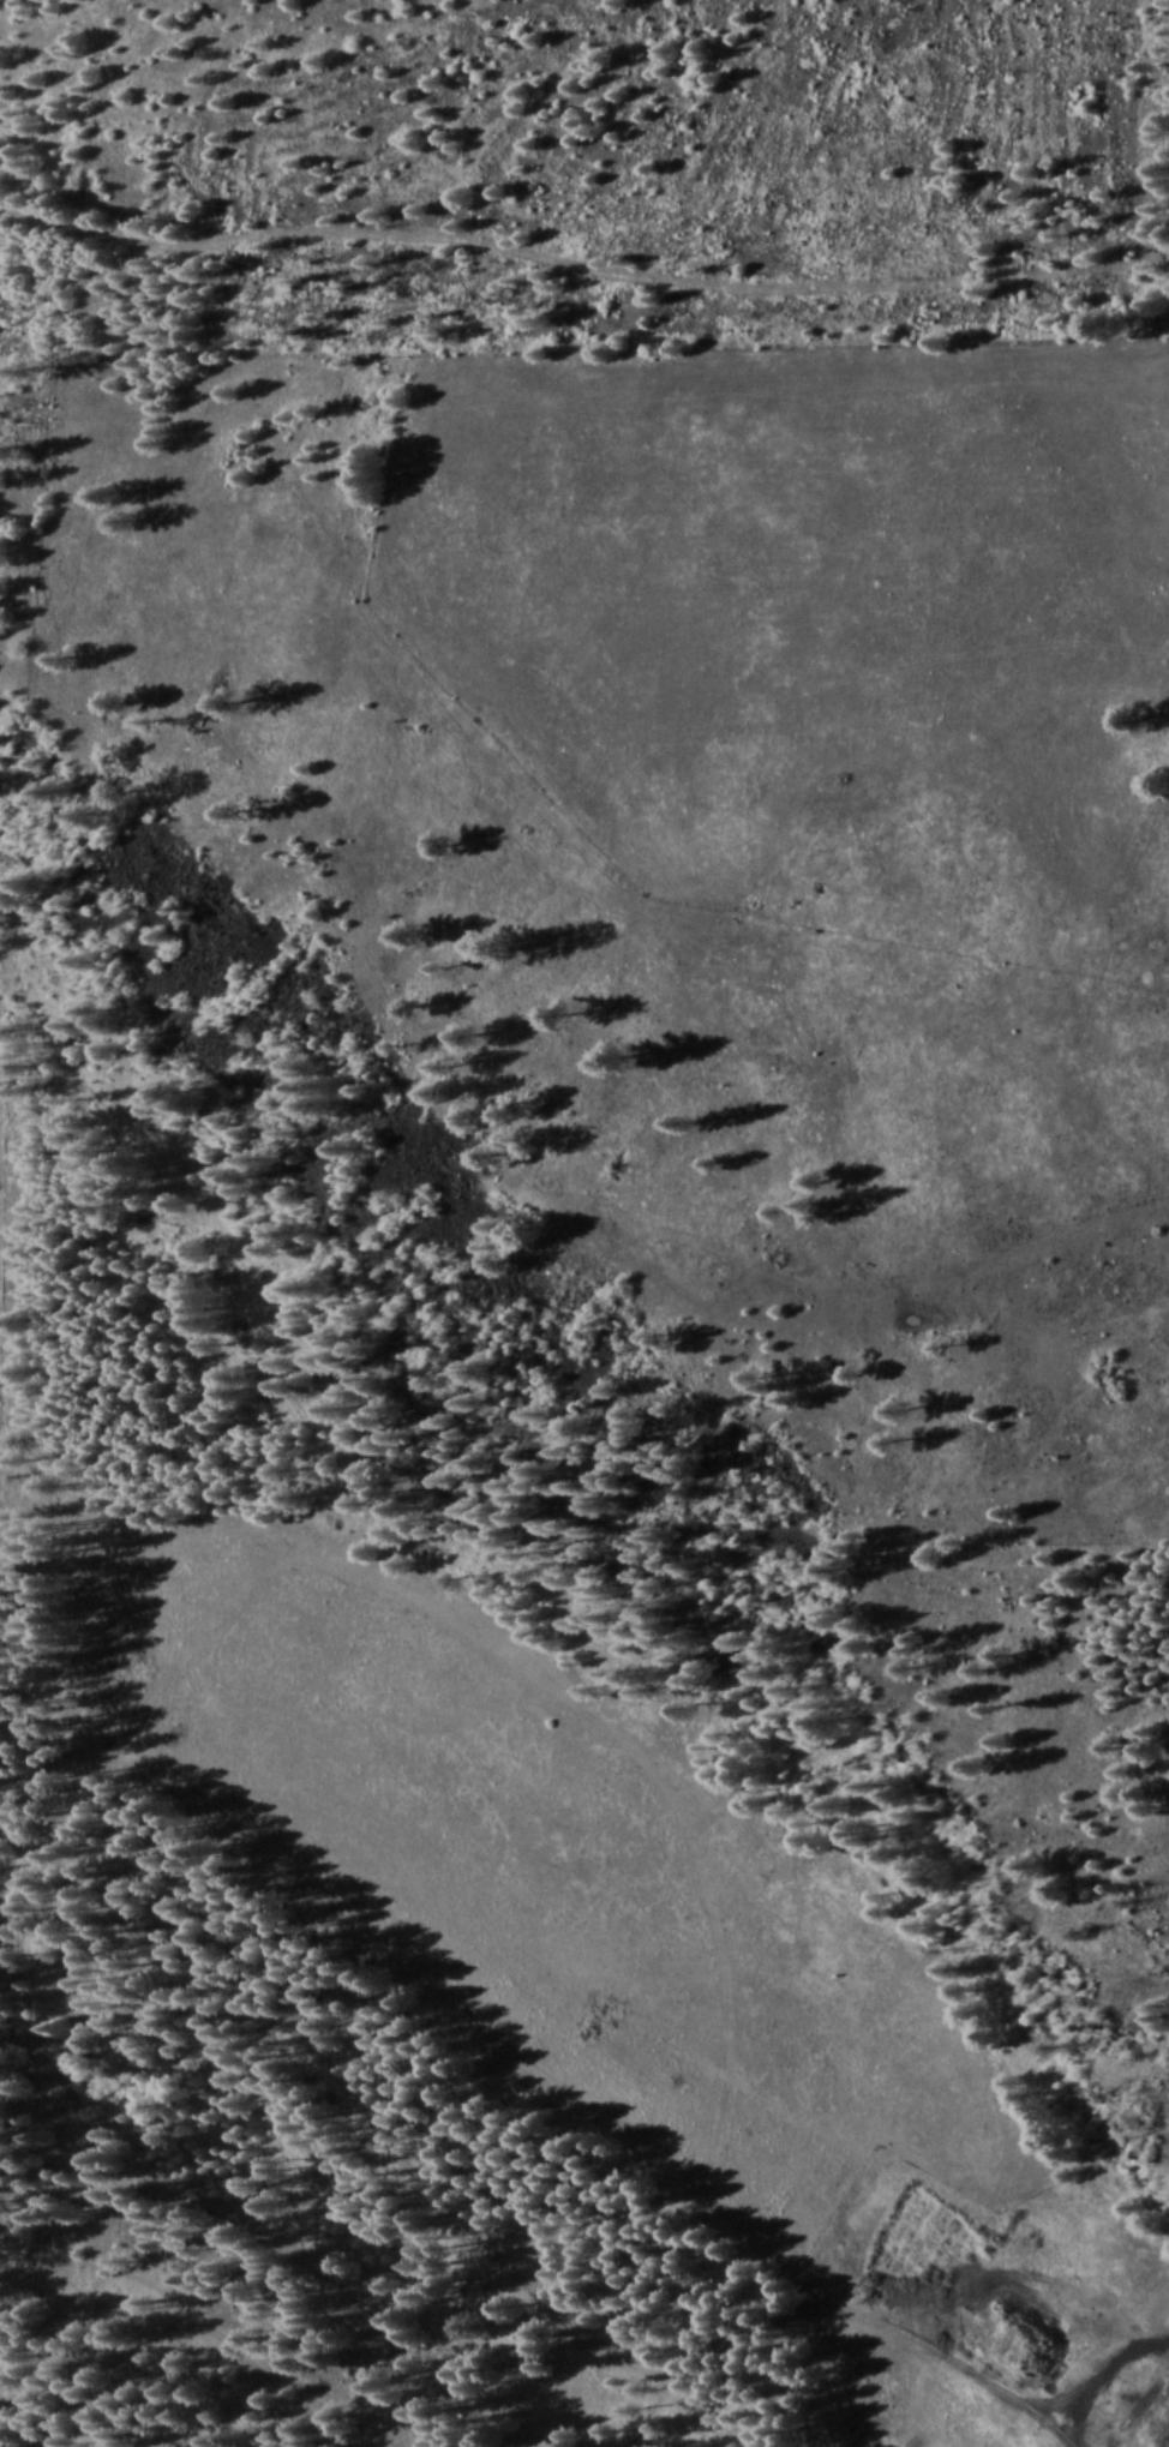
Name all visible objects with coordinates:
road: (1098, 2381)

